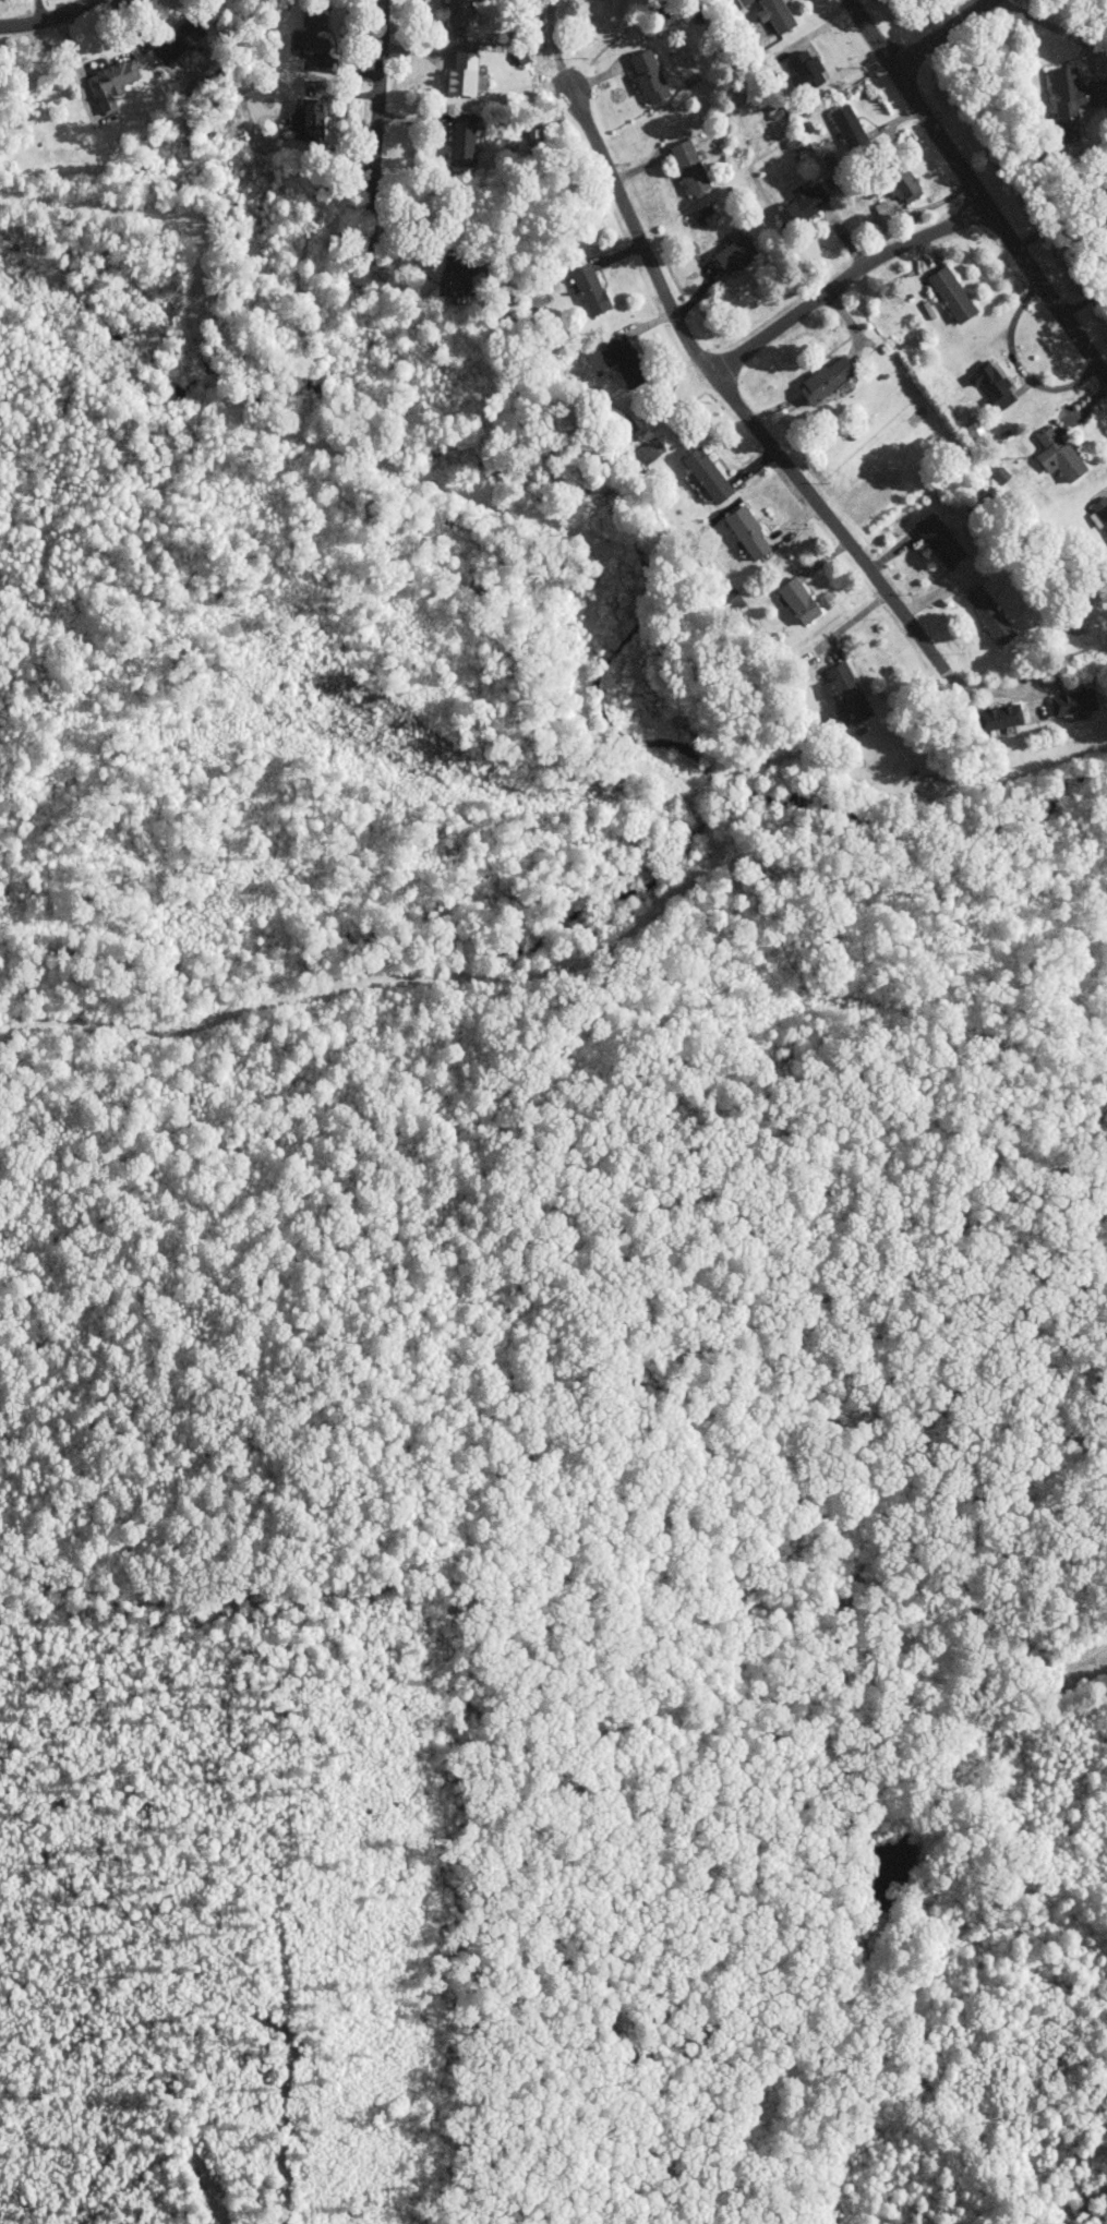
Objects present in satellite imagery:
building: (747, 1)
building: (466, 12)
building: (779, 14)
road: (46, 19)
road: (1058, 28)
building: (321, 32)
road: (874, 34)
road: (944, 34)
building: (181, 40)
road: (554, 44)
building: (528, 53)
road: (79, 63)
building: (809, 70)
building: (467, 74)
building: (652, 75)
building: (116, 82)
building: (1076, 94)
building: (315, 119)
building: (852, 127)
building: (467, 139)
road: (375, 145)
building: (693, 167)
building: (910, 188)
building: (804, 204)
road: (1000, 226)
building: (741, 253)
road: (846, 278)
building: (456, 279)
building: (594, 289)
building: (955, 294)
road: (1084, 301)
building: (629, 361)
road: (1018, 364)
building: (830, 380)
building: (995, 385)
road: (732, 390)
building: (1061, 455)
building: (711, 474)
building: (1004, 474)
building: (1100, 512)
building: (750, 532)
building: (943, 541)
building: (803, 600)
building: (994, 615)
road: (986, 687)
building: (850, 695)
building: (1074, 701)
building: (1007, 717)

